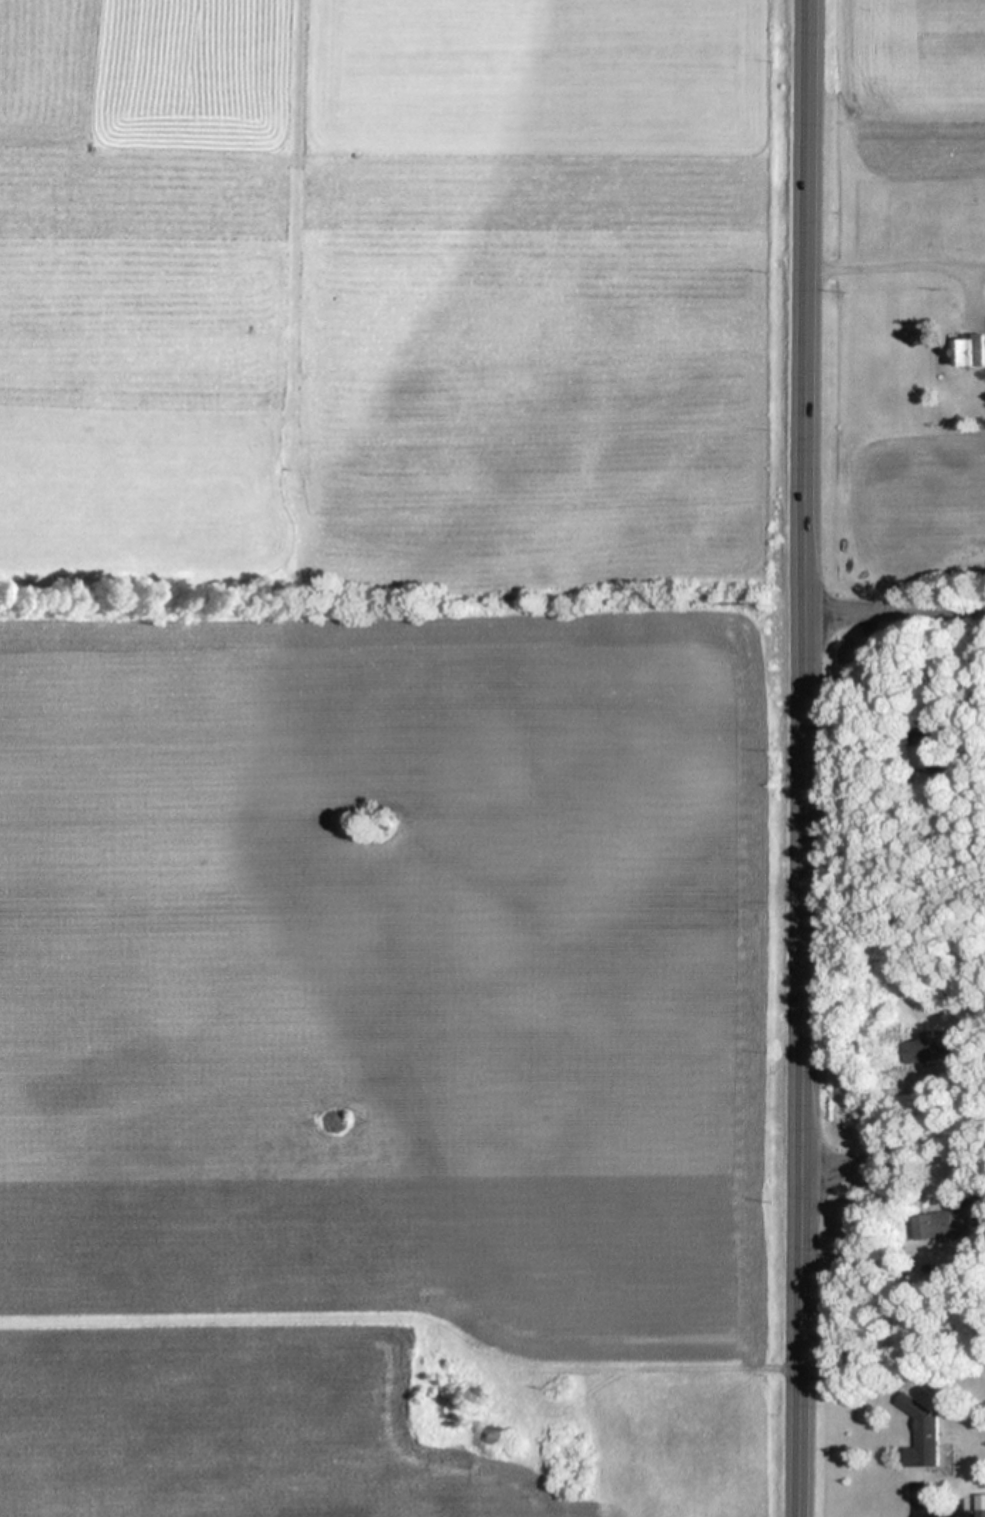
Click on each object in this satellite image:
building: (972, 350)
road: (896, 612)
road: (806, 758)
building: (934, 1049)
road: (892, 1152)
building: (935, 1225)
building: (921, 1433)
building: (946, 1459)
building: (980, 1505)

